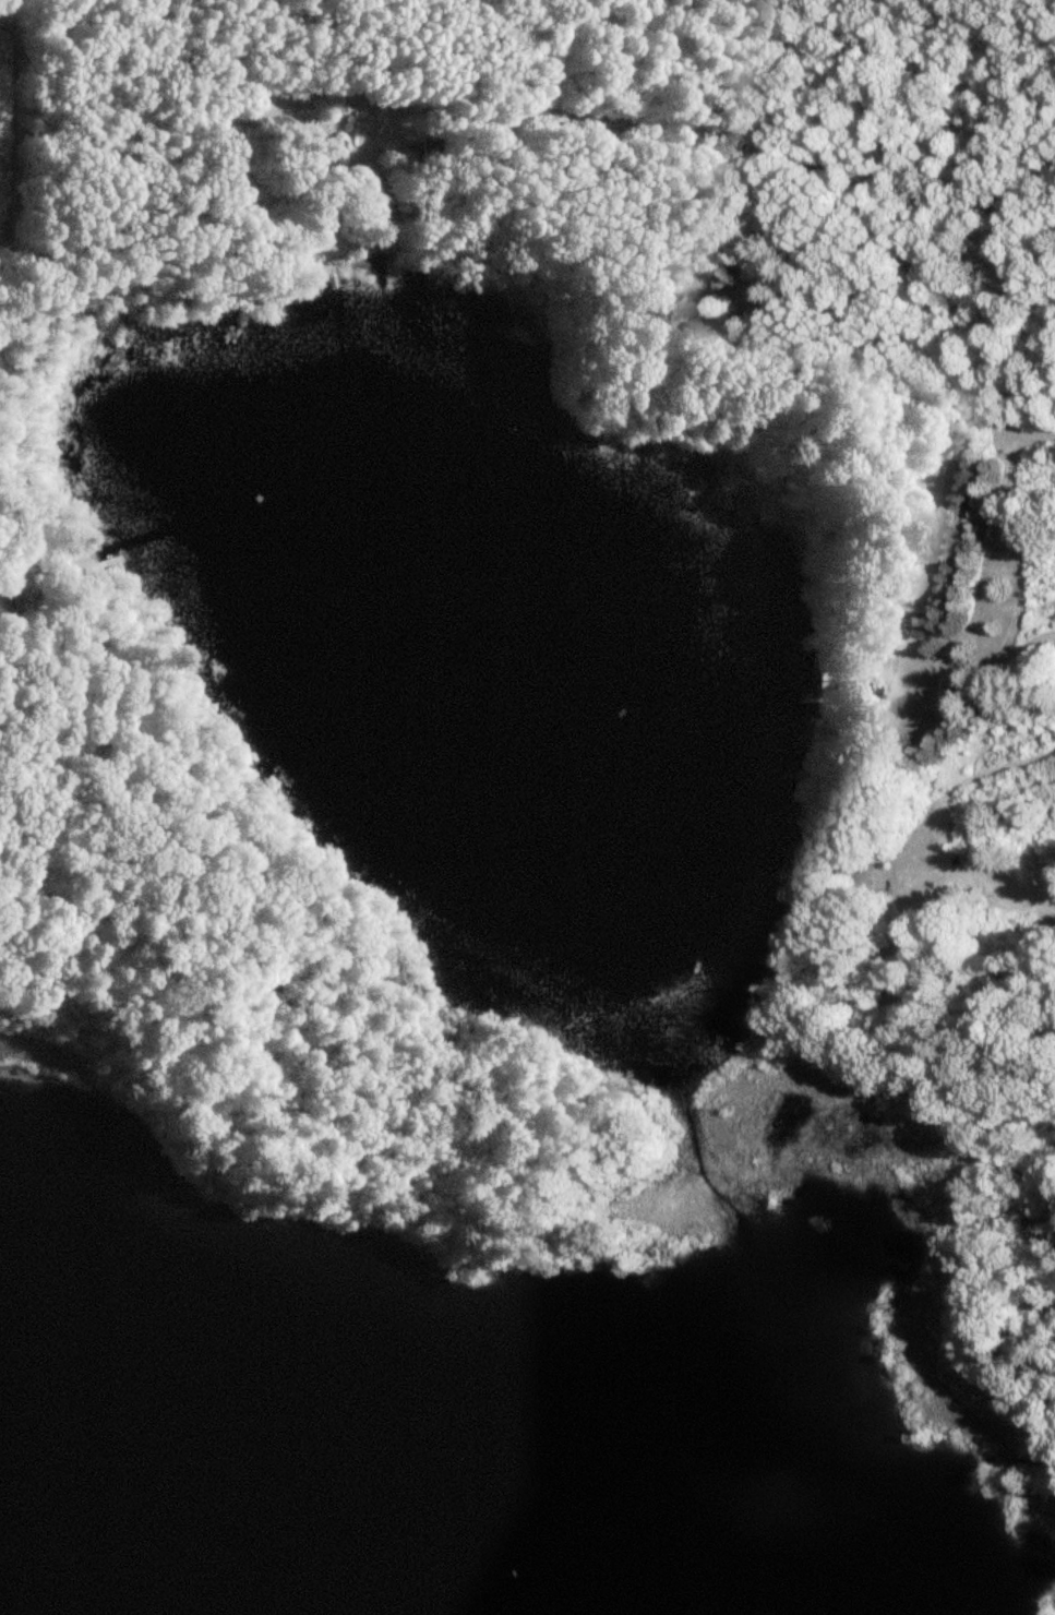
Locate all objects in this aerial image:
road: (792, 155)
building: (599, 182)
building: (363, 189)
building: (913, 627)
building: (862, 692)

